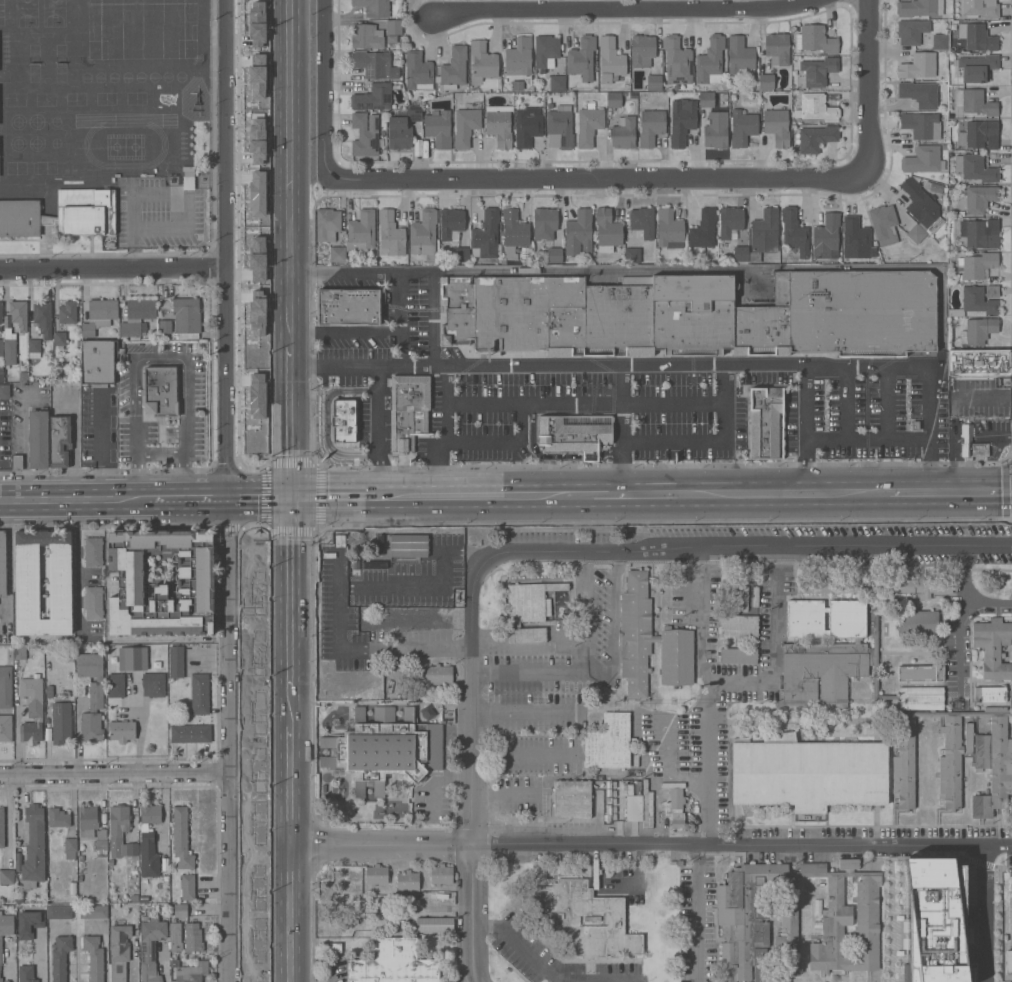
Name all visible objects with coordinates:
building: (373, 7)
building: (919, 8)
building: (980, 8)
road: (625, 11)
building: (257, 23)
building: (394, 26)
building: (911, 31)
building: (367, 36)
building: (977, 37)
building: (816, 39)
building: (940, 41)
building: (777, 48)
building: (546, 50)
building: (642, 50)
building: (740, 56)
building: (519, 57)
building: (582, 58)
building: (610, 60)
building: (482, 61)
building: (677, 61)
building: (710, 61)
building: (373, 63)
building: (918, 65)
building: (978, 67)
building: (453, 68)
building: (418, 71)
building: (816, 72)
building: (257, 77)
building: (557, 82)
building: (654, 82)
building: (766, 82)
road: (871, 88)
road: (324, 92)
building: (919, 94)
building: (373, 97)
building: (614, 99)
building: (706, 99)
building: (974, 102)
building: (816, 108)
building: (414, 113)
building: (681, 121)
building: (466, 125)
building: (499, 125)
building: (528, 125)
building: (921, 125)
building: (589, 126)
building: (777, 126)
building: (438, 127)
building: (561, 127)
building: (651, 127)
building: (742, 127)
building: (256, 128)
building: (716, 130)
building: (399, 132)
building: (624, 132)
building: (979, 134)
building: (364, 136)
building: (816, 138)
building: (257, 152)
building: (923, 159)
building: (975, 168)
road: (289, 175)
building: (188, 177)
road: (606, 177)
building: (933, 187)
building: (257, 193)
building: (980, 198)
building: (922, 205)
building: (86, 212)
road: (133, 216)
building: (20, 218)
building: (48, 220)
building: (730, 221)
building: (451, 222)
building: (643, 222)
building: (544, 223)
building: (328, 224)
building: (884, 224)
building: (669, 229)
building: (703, 229)
building: (607, 230)
building: (794, 231)
building: (361, 232)
building: (391, 233)
building: (579, 233)
building: (917, 233)
building: (980, 233)
building: (764, 234)
building: (424, 235)
building: (486, 235)
building: (513, 235)
building: (826, 236)
building: (857, 239)
building: (741, 253)
building: (337, 254)
building: (462, 254)
road: (134, 255)
building: (555, 255)
building: (632, 255)
building: (257, 258)
building: (978, 264)
road: (112, 270)
road: (408, 272)
building: (977, 302)
building: (349, 306)
building: (1, 312)
building: (67, 312)
building: (257, 312)
building: (19, 314)
building: (100, 315)
building: (694, 315)
building: (43, 318)
building: (137, 318)
building: (186, 318)
road: (398, 319)
building: (164, 326)
building: (978, 330)
road: (344, 332)
building: (60, 338)
building: (10, 347)
building: (35, 348)
road: (161, 358)
building: (97, 363)
building: (979, 363)
road: (671, 365)
building: (22, 376)
building: (2, 378)
road: (621, 382)
building: (4, 391)
building: (160, 391)
building: (257, 395)
road: (503, 400)
road: (692, 401)
road: (846, 402)
road: (887, 402)
road: (443, 403)
building: (408, 411)
road: (622, 417)
building: (323, 419)
building: (353, 422)
building: (765, 422)
road: (291, 424)
road: (806, 428)
road: (379, 431)
building: (572, 435)
building: (38, 438)
road: (868, 439)
road: (691, 440)
building: (60, 441)
road: (482, 441)
building: (971, 444)
road: (24, 447)
building: (363, 449)
road: (135, 457)
road: (187, 458)
building: (17, 462)
road: (443, 468)
road: (226, 491)
road: (953, 491)
road: (850, 492)
road: (625, 493)
road: (368, 496)
road: (260, 497)
traffic signals: (293, 497)
road: (113, 499)
building: (379, 545)
building: (409, 546)
road: (603, 550)
building: (93, 551)
road: (10, 557)
building: (324, 559)
building: (333, 559)
building: (2, 563)
building: (373, 565)
road: (77, 568)
road: (88, 574)
building: (27, 582)
building: (162, 584)
road: (385, 585)
road: (292, 591)
road: (963, 596)
building: (744, 598)
building: (404, 599)
building: (530, 601)
building: (93, 602)
building: (412, 617)
building: (355, 621)
building: (917, 623)
road: (614, 625)
building: (738, 626)
building: (635, 633)
building: (527, 635)
road: (959, 643)
road: (772, 645)
building: (993, 647)
road: (419, 650)
building: (20, 652)
building: (738, 655)
building: (676, 656)
building: (132, 658)
building: (176, 662)
road: (585, 668)
building: (919, 673)
building: (438, 675)
building: (92, 677)
building: (153, 684)
building: (115, 685)
building: (5, 687)
building: (49, 688)
building: (65, 693)
building: (200, 694)
building: (990, 694)
building: (32, 696)
road: (707, 696)
building: (895, 696)
building: (1010, 698)
road: (292, 706)
road: (522, 716)
building: (61, 721)
building: (6, 727)
building: (91, 727)
building: (122, 730)
building: (31, 732)
building: (191, 733)
building: (968, 738)
building: (608, 742)
building: (385, 748)
road: (522, 756)
building: (808, 772)
road: (115, 773)
road: (291, 786)
road: (501, 795)
building: (572, 799)
building: (633, 802)
building: (673, 802)
building: (647, 805)
road: (164, 811)
building: (58, 818)
building: (119, 820)
building: (88, 821)
building: (2, 828)
building: (181, 838)
building: (149, 841)
building: (101, 842)
building: (115, 843)
road: (651, 845)
building: (70, 848)
building: (132, 848)
building: (33, 849)
building: (81, 858)
building: (1009, 873)
building: (376, 874)
building: (441, 874)
building: (6, 876)
building: (408, 880)
road: (595, 885)
building: (188, 887)
building: (19, 898)
building: (134, 898)
building: (850, 900)
building: (180, 910)
building: (60, 911)
building: (95, 911)
road: (473, 913)
road: (695, 913)
road: (290, 914)
road: (986, 915)
building: (583, 918)
building: (832, 919)
building: (935, 920)
building: (29, 923)
building: (6, 924)
building: (176, 936)
building: (193, 938)
building: (333, 947)
building: (850, 947)
building: (151, 948)
building: (119, 951)
building: (1, 952)
building: (60, 957)
building: (94, 957)
road: (12, 962)
building: (1009, 962)
building: (392, 963)
road: (547, 970)
building: (190, 971)
building: (26, 973)
building: (1, 981)
building: (6, 981)

